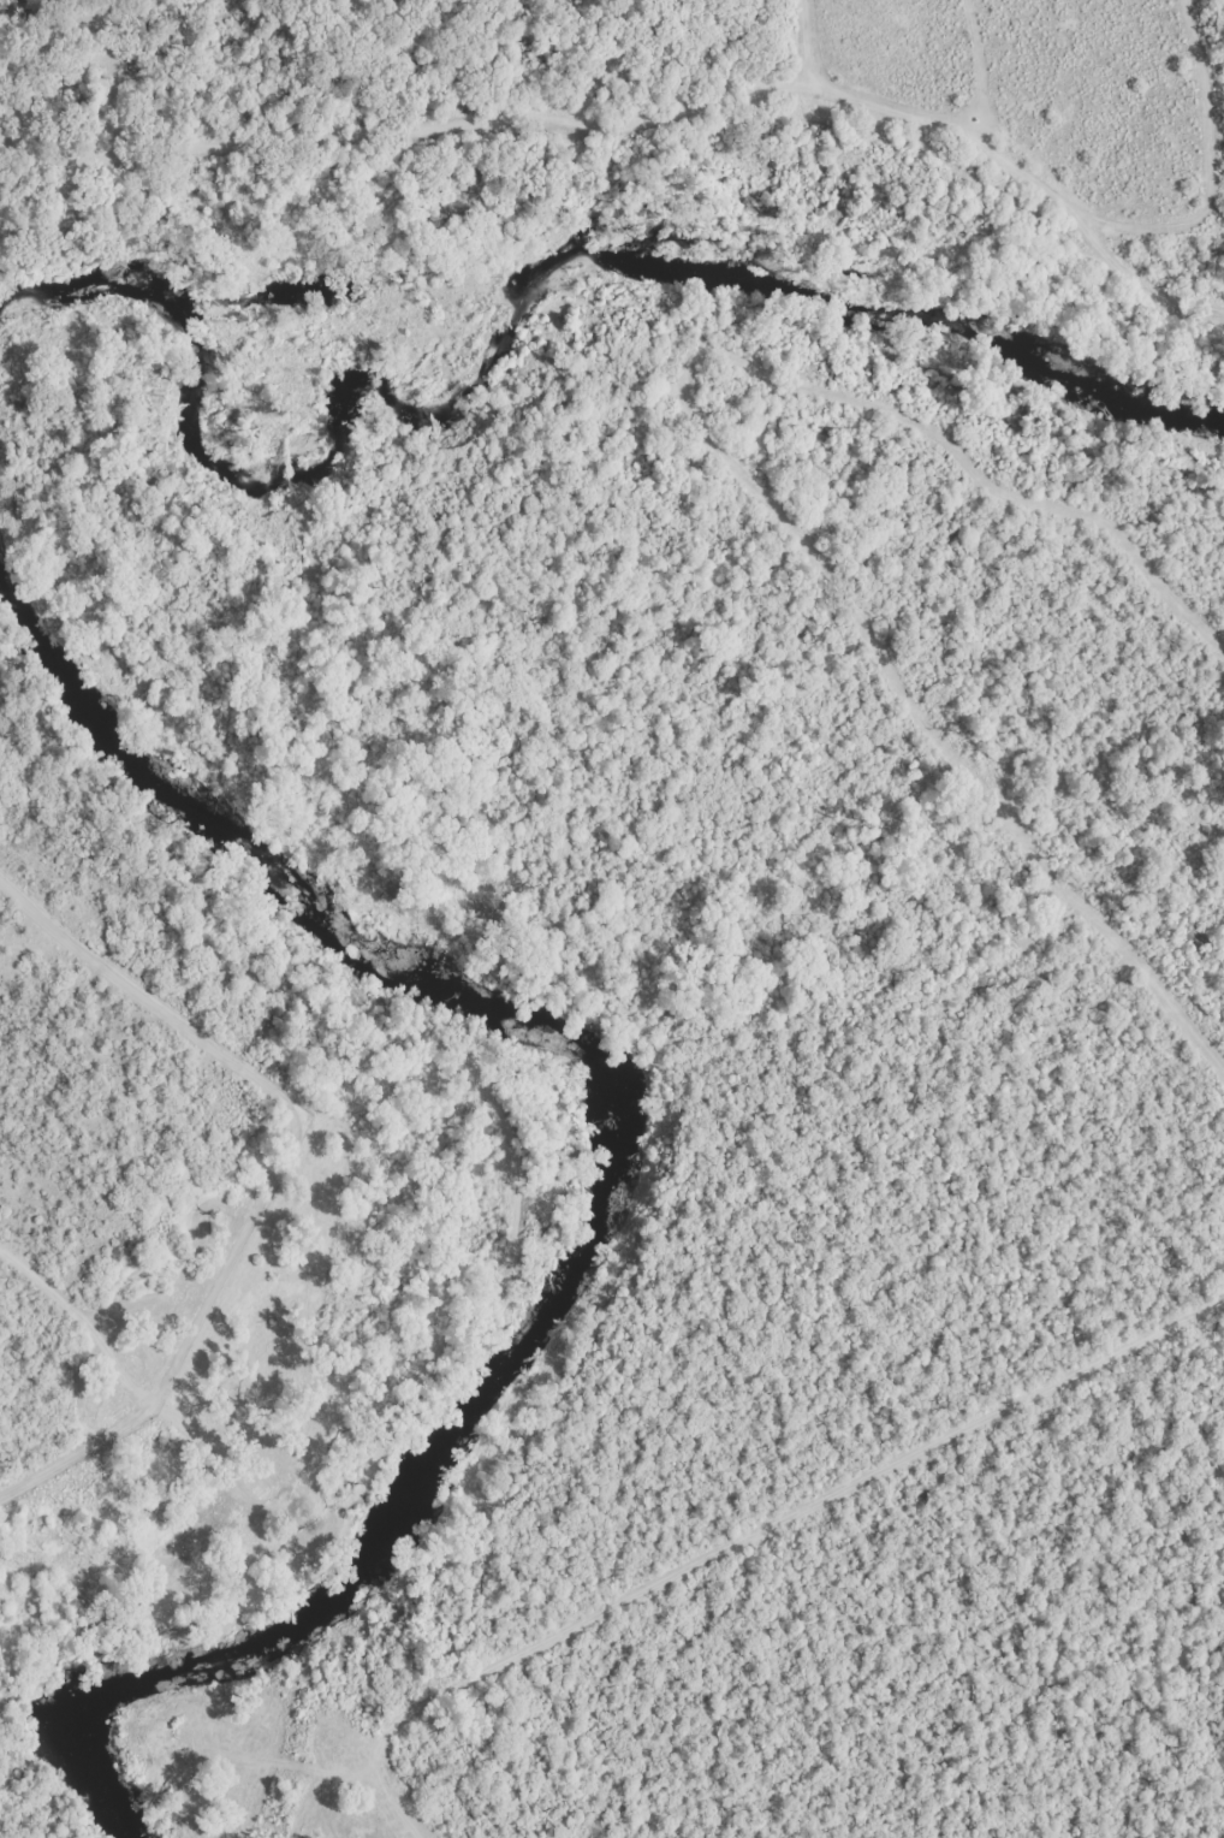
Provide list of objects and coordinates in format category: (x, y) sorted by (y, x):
road: (623, 79)
river: (531, 303)
river: (607, 1194)
road: (11, 1256)
road: (744, 1540)

